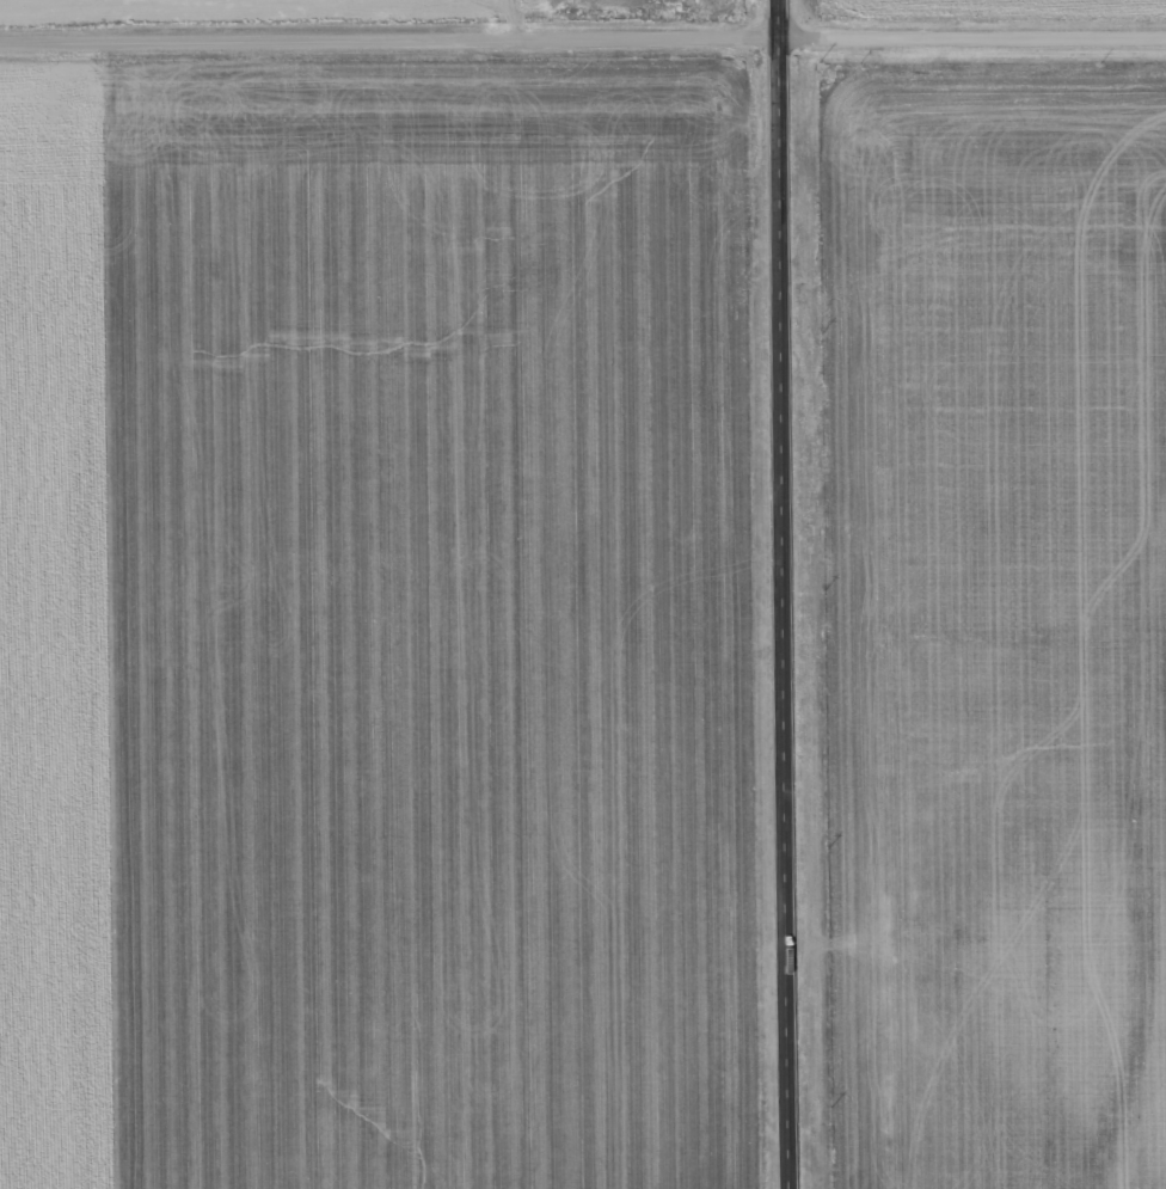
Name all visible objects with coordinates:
road: (582, 35)
road: (785, 594)

